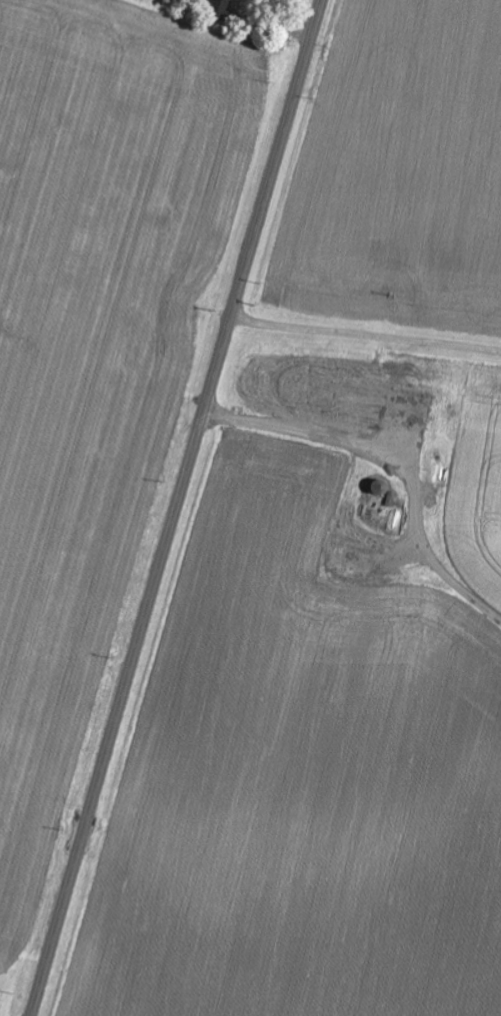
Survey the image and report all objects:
building: (241, 0)
building: (222, 6)
road: (365, 337)
building: (309, 390)
building: (411, 408)
road: (413, 457)
road: (175, 507)
road: (17, 998)

